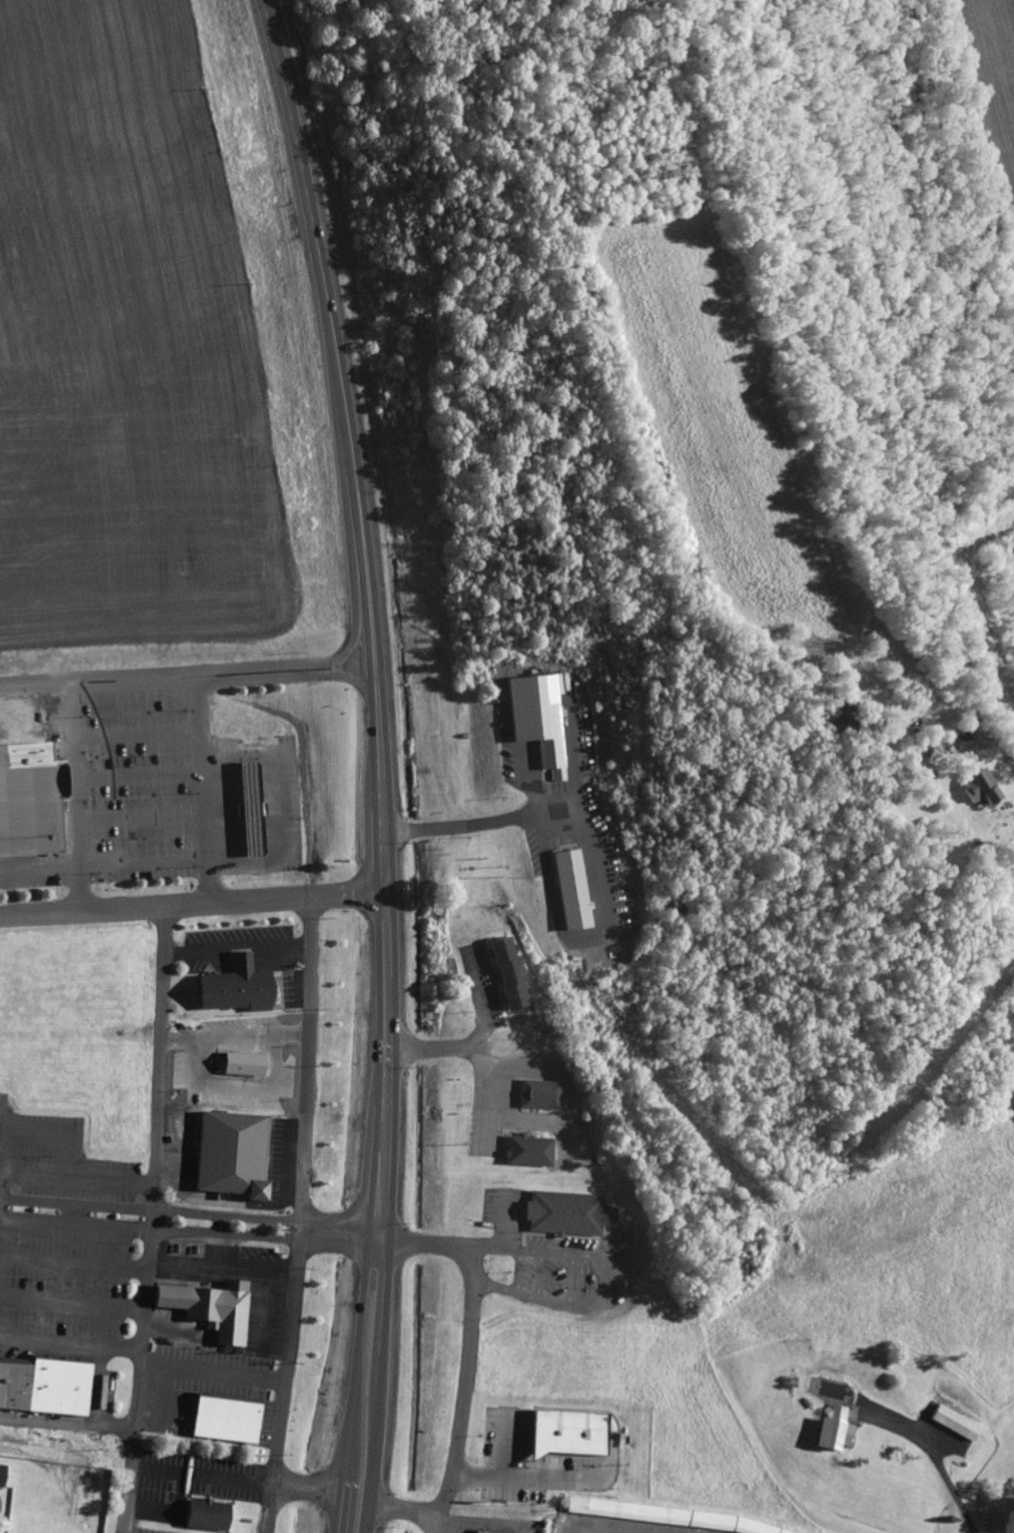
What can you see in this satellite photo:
road: (359, 615)
road: (373, 617)
road: (292, 672)
road: (134, 681)
road: (36, 687)
building: (540, 719)
building: (838, 719)
road: (138, 734)
road: (1006, 759)
road: (140, 774)
parking lot: (139, 786)
building: (976, 788)
building: (29, 802)
gas station: (259, 807)
road: (143, 816)
road: (475, 823)
road: (145, 857)
road: (41, 873)
building: (570, 891)
road: (193, 910)
parking lot: (227, 941)
building: (508, 971)
building: (238, 986)
parking lot: (288, 988)
road: (478, 1054)
building: (241, 1065)
building: (540, 1093)
building: (530, 1149)
building: (231, 1153)
road: (4, 1165)
road: (68, 1177)
road: (77, 1207)
building: (568, 1213)
road: (299, 1218)
road: (267, 1220)
road: (153, 1223)
road: (76, 1226)
road: (265, 1238)
road: (75, 1263)
road: (222, 1269)
road: (606, 1279)
road: (73, 1304)
road: (386, 1305)
building: (211, 1306)
road: (266, 1308)
road: (71, 1338)
road: (360, 1358)
road: (213, 1373)
road: (464, 1379)
road: (107, 1386)
building: (42, 1387)
building: (210, 1419)
building: (241, 1423)
road: (68, 1424)
building: (954, 1424)
building: (567, 1431)
building: (831, 1431)
road: (375, 1449)
parking lot: (536, 1460)
road: (937, 1460)
building: (2, 1471)
road: (157, 1473)
road: (235, 1481)
road: (311, 1488)
road: (348, 1503)
building: (206, 1515)
road: (436, 1528)
building: (486, 1532)

